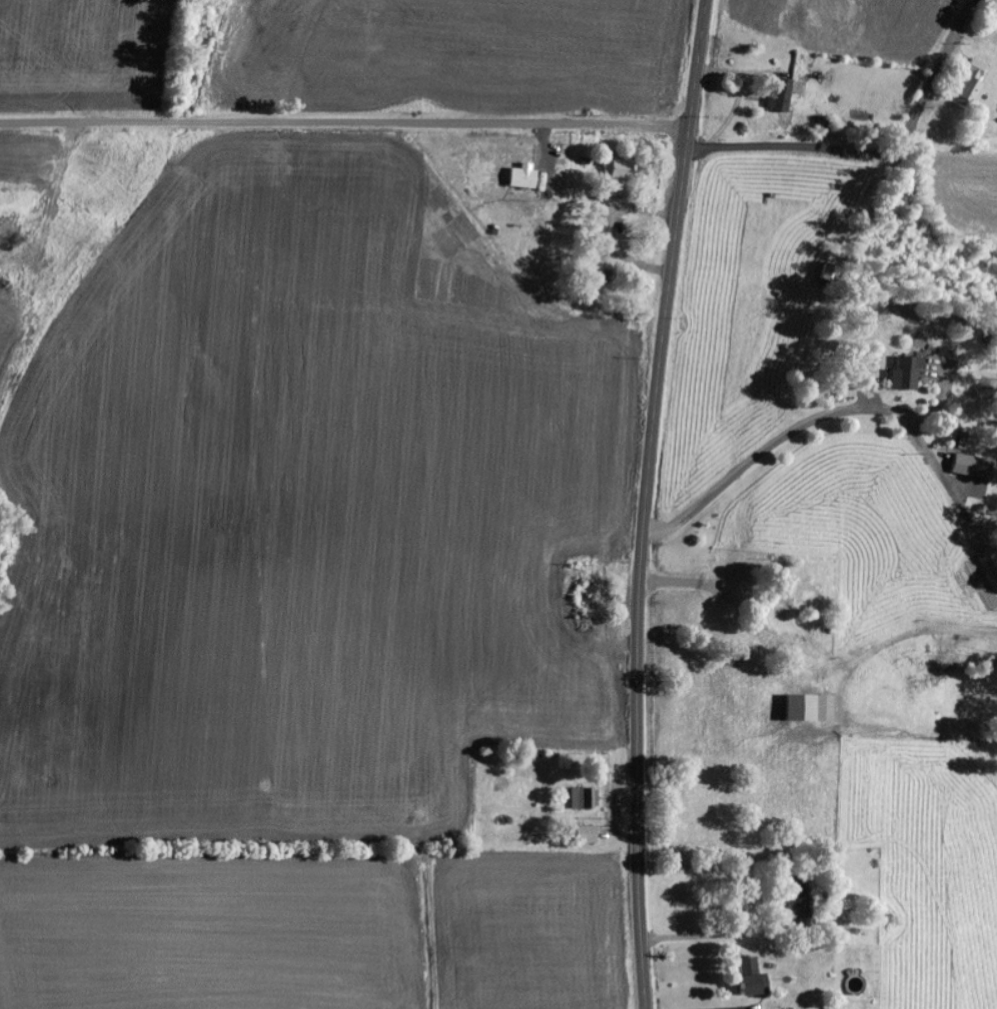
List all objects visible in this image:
road: (942, 61)
building: (969, 87)
building: (783, 96)
road: (345, 124)
road: (806, 149)
building: (619, 170)
building: (525, 178)
building: (907, 373)
road: (849, 411)
building: (974, 467)
road: (646, 502)
building: (812, 709)
building: (586, 799)
building: (588, 835)
building: (801, 899)
building: (754, 979)

